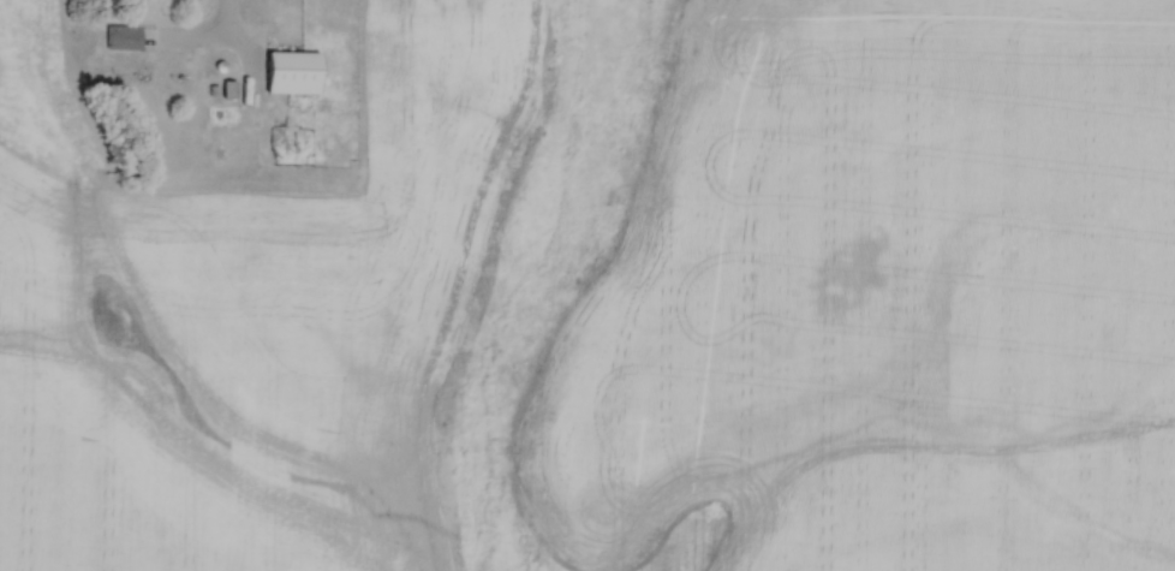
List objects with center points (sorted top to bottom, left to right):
building: (121, 35)
road: (202, 43)
building: (292, 69)

